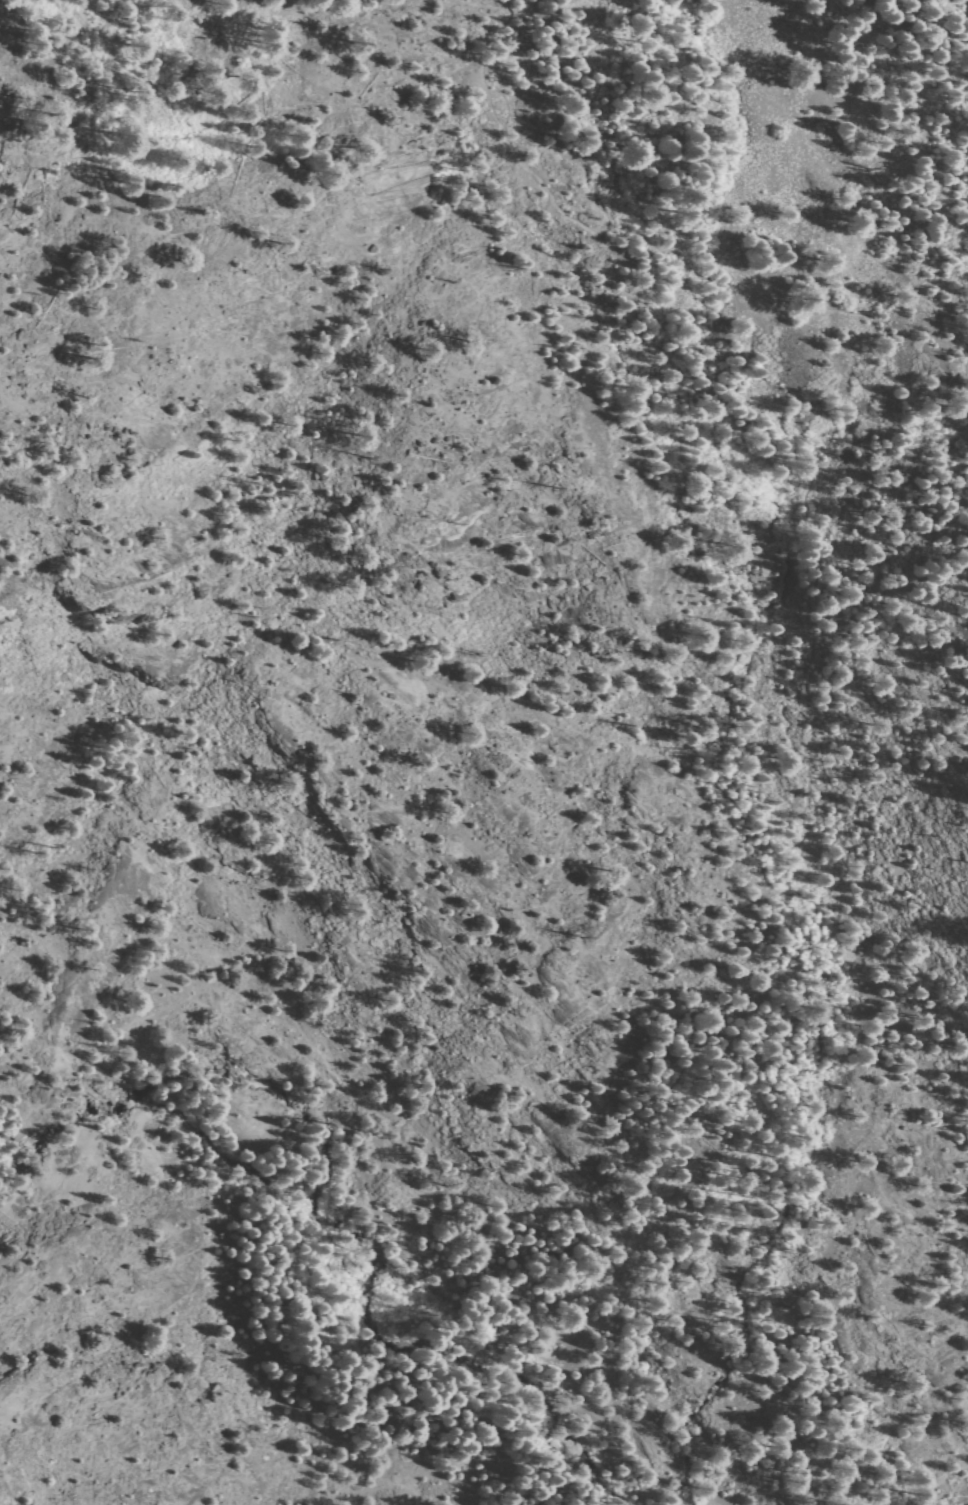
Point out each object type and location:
road: (648, 242)
road: (780, 943)
road: (269, 1287)

